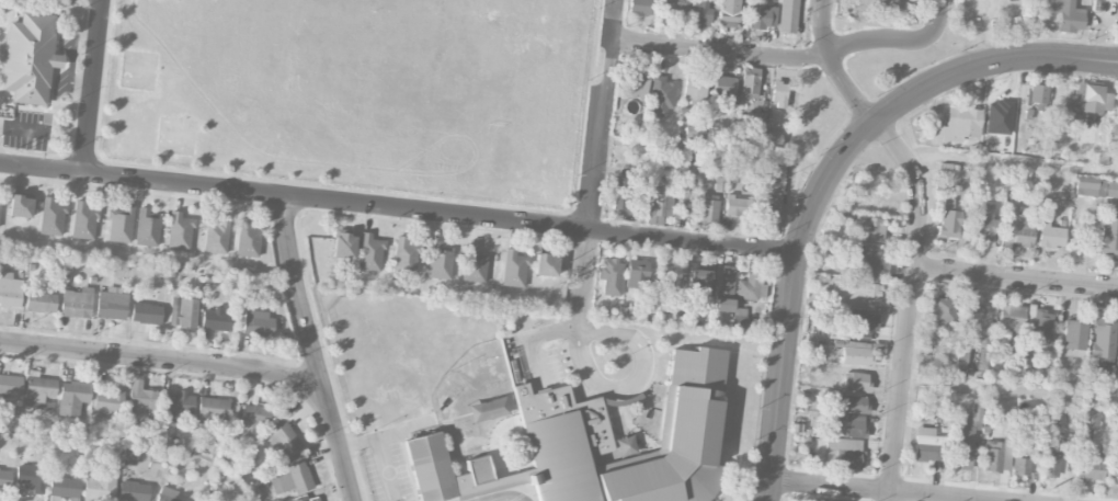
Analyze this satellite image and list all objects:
building: (1117, 1)
building: (675, 4)
building: (891, 4)
building: (640, 7)
building: (700, 12)
building: (729, 13)
building: (787, 15)
building: (1068, 15)
building: (763, 16)
road: (899, 41)
road: (720, 49)
building: (28, 57)
road: (990, 62)
road: (834, 67)
building: (749, 82)
building: (636, 83)
building: (695, 86)
road: (95, 87)
building: (723, 87)
park: (360, 91)
building: (778, 92)
building: (1037, 95)
building: (661, 96)
building: (1023, 96)
building: (1092, 96)
road: (602, 116)
building: (957, 124)
building: (694, 133)
building: (749, 135)
building: (774, 138)
road: (1012, 162)
building: (1096, 187)
building: (621, 193)
building: (689, 197)
building: (660, 200)
building: (0, 201)
building: (766, 205)
building: (21, 206)
building: (737, 206)
building: (709, 207)
road: (397, 209)
building: (52, 217)
building: (948, 218)
building: (83, 220)
building: (983, 221)
building: (119, 224)
building: (147, 227)
building: (869, 227)
building: (772, 228)
building: (1017, 228)
building: (180, 230)
building: (217, 236)
building: (1050, 236)
building: (1109, 237)
building: (248, 238)
building: (343, 246)
building: (369, 252)
building: (404, 255)
building: (865, 259)
building: (438, 260)
building: (474, 264)
building: (546, 264)
building: (514, 269)
building: (665, 273)
building: (636, 274)
building: (611, 275)
road: (1016, 276)
building: (723, 277)
road: (582, 280)
building: (698, 281)
building: (750, 287)
building: (10, 291)
building: (725, 294)
building: (856, 294)
road: (790, 298)
building: (39, 299)
building: (76, 304)
building: (112, 304)
building: (722, 305)
road: (910, 305)
road: (304, 308)
building: (639, 308)
building: (944, 308)
building: (146, 312)
building: (184, 312)
building: (977, 316)
building: (1011, 318)
building: (215, 319)
building: (862, 321)
building: (256, 322)
building: (1039, 326)
building: (1074, 332)
building: (1103, 338)
building: (859, 352)
building: (981, 360)
road: (217, 364)
road: (638, 379)
building: (856, 380)
building: (10, 385)
building: (39, 389)
road: (1011, 389)
building: (73, 396)
building: (139, 398)
building: (109, 402)
building: (848, 403)
building: (178, 406)
building: (213, 409)
building: (252, 421)
building: (1088, 423)
building: (846, 425)
road: (400, 432)
building: (966, 434)
building: (284, 441)
building: (927, 444)
building: (596, 445)
road: (383, 451)
building: (846, 452)
building: (997, 455)
building: (1052, 460)
building: (1020, 466)
building: (1088, 466)
building: (1114, 471)
building: (30, 477)
building: (4, 478)
building: (293, 478)
building: (100, 483)
building: (62, 488)
road: (882, 489)
building: (133, 491)
building: (167, 494)
road: (506, 497)
building: (310, 499)

